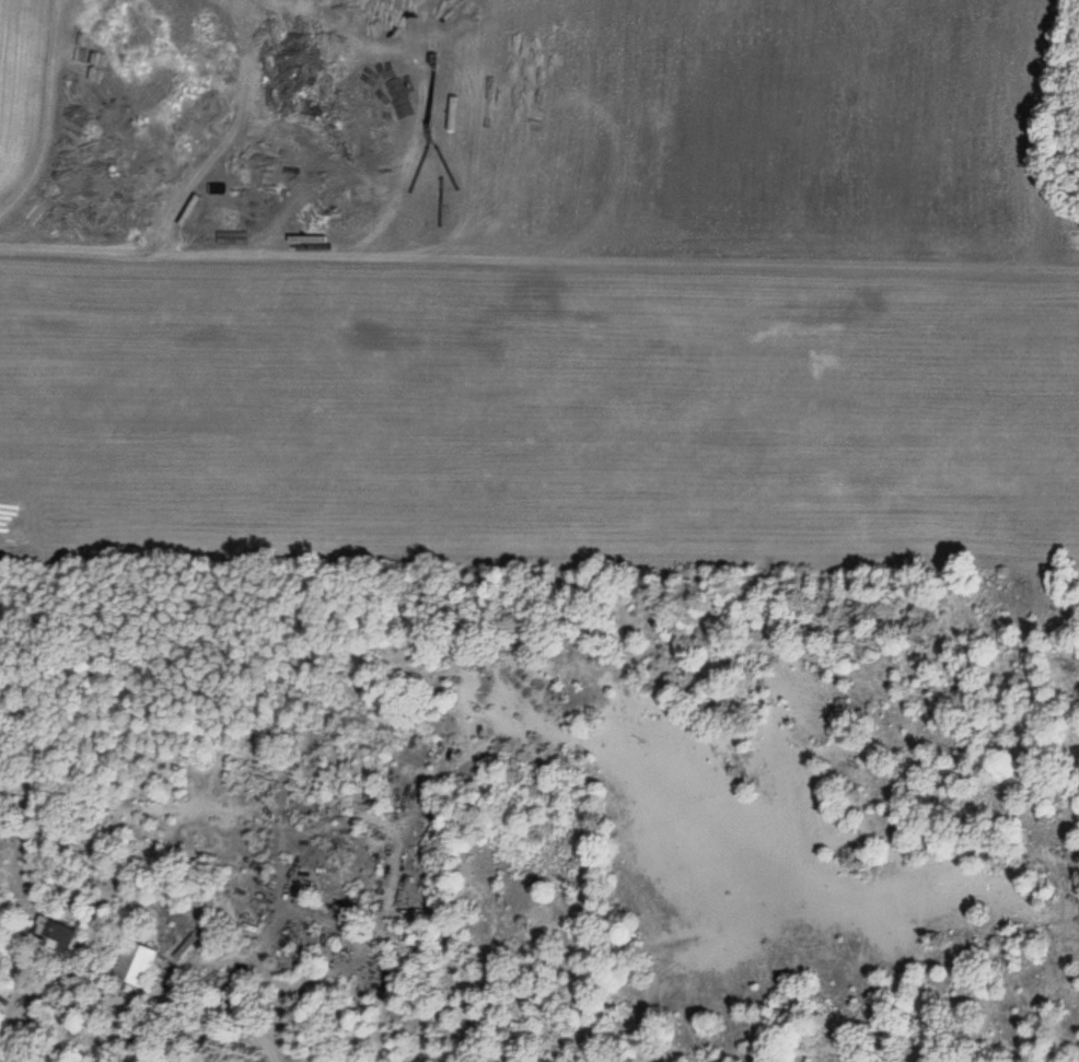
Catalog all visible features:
road: (94, 125)
road: (387, 128)
road: (538, 259)
building: (51, 934)
building: (136, 962)
road: (146, 982)

